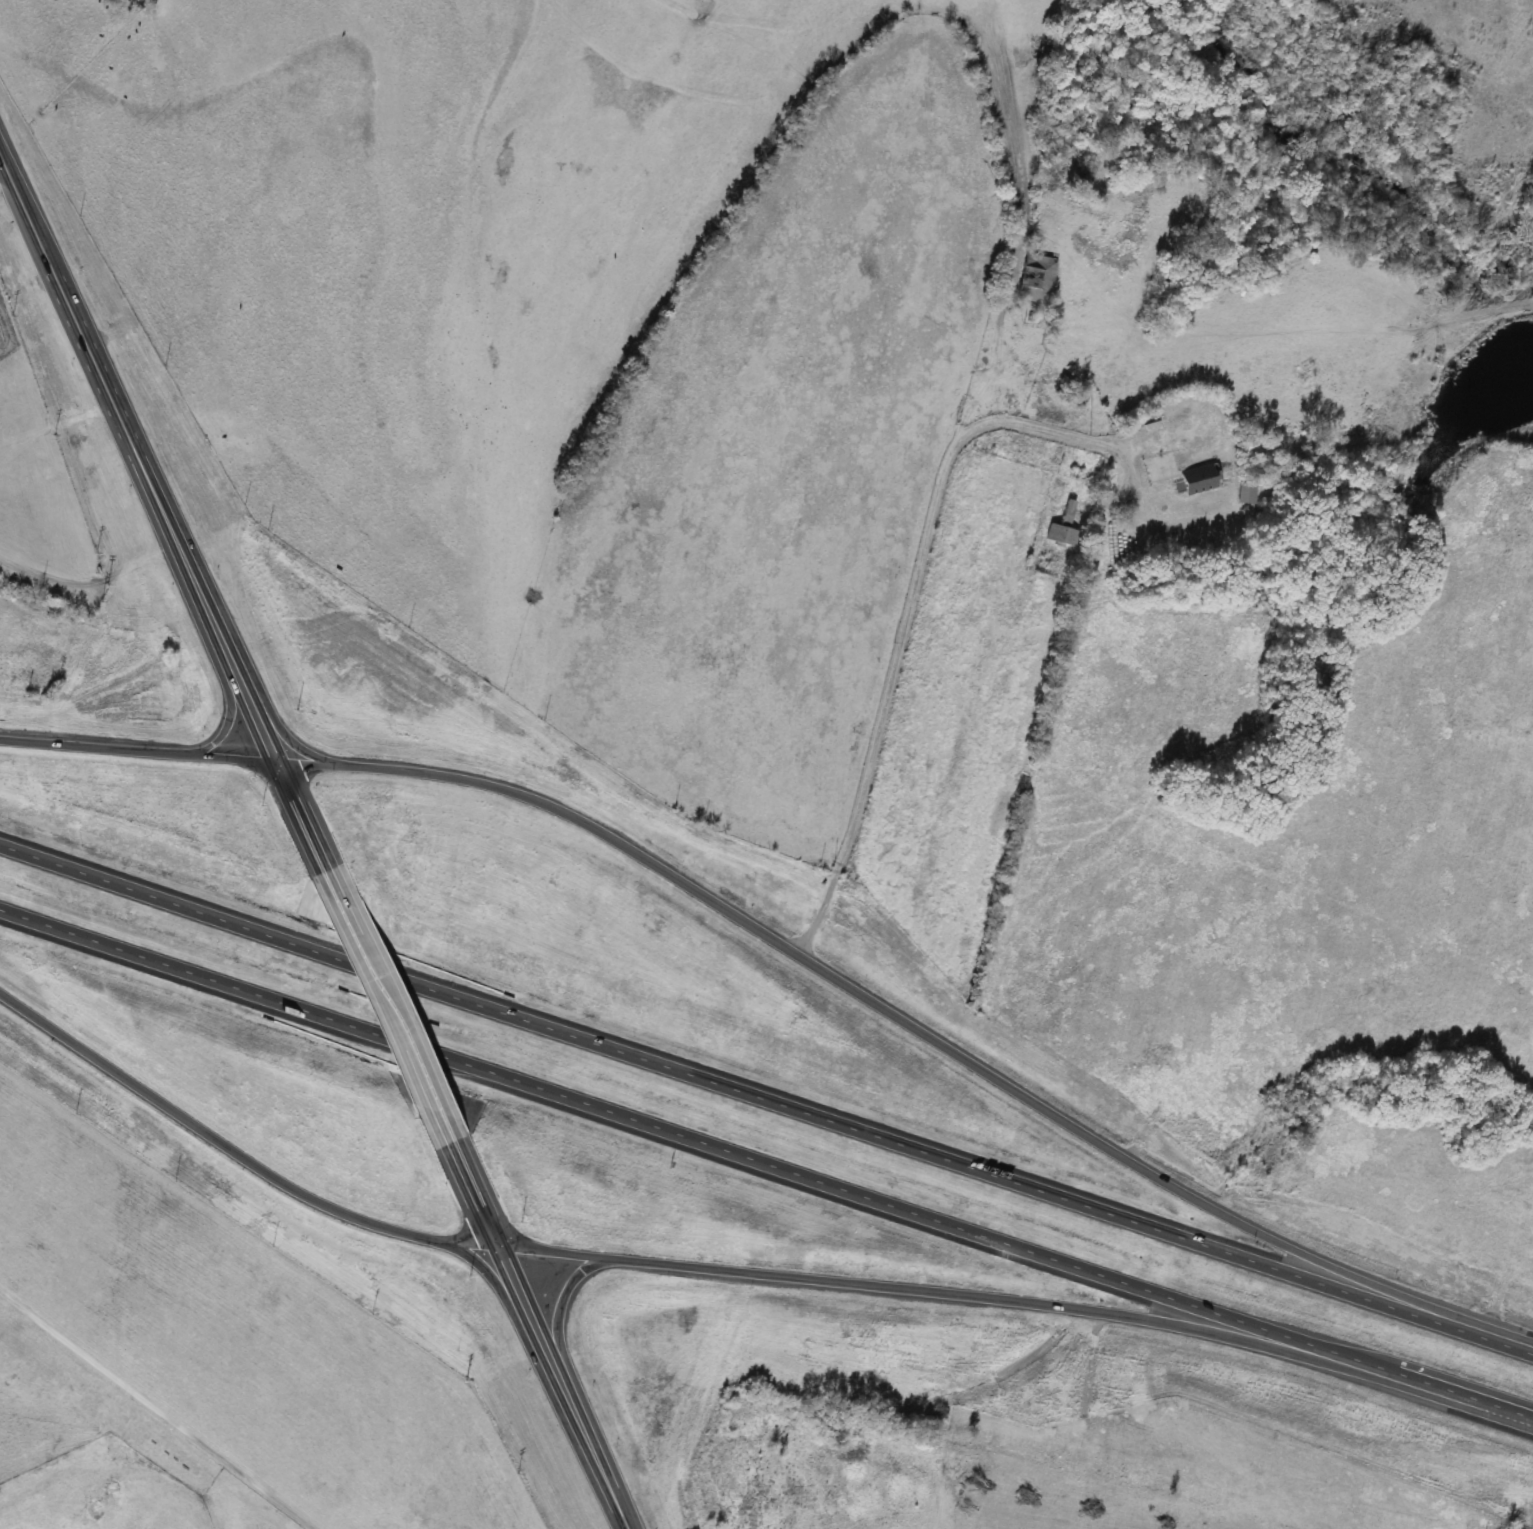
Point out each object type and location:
building: (1036, 277)
road: (137, 461)
building: (1198, 477)
building: (1245, 493)
building: (1062, 527)
road: (912, 584)
road: (230, 711)
road: (288, 738)
road: (138, 745)
road: (301, 814)
road: (881, 1002)
road: (384, 1007)
road: (729, 1088)
road: (694, 1139)
road: (232, 1146)
road: (466, 1194)
road: (494, 1281)
road: (941, 1291)
road: (557, 1311)
road: (1497, 1337)
road: (558, 1387)
road: (1461, 1392)

